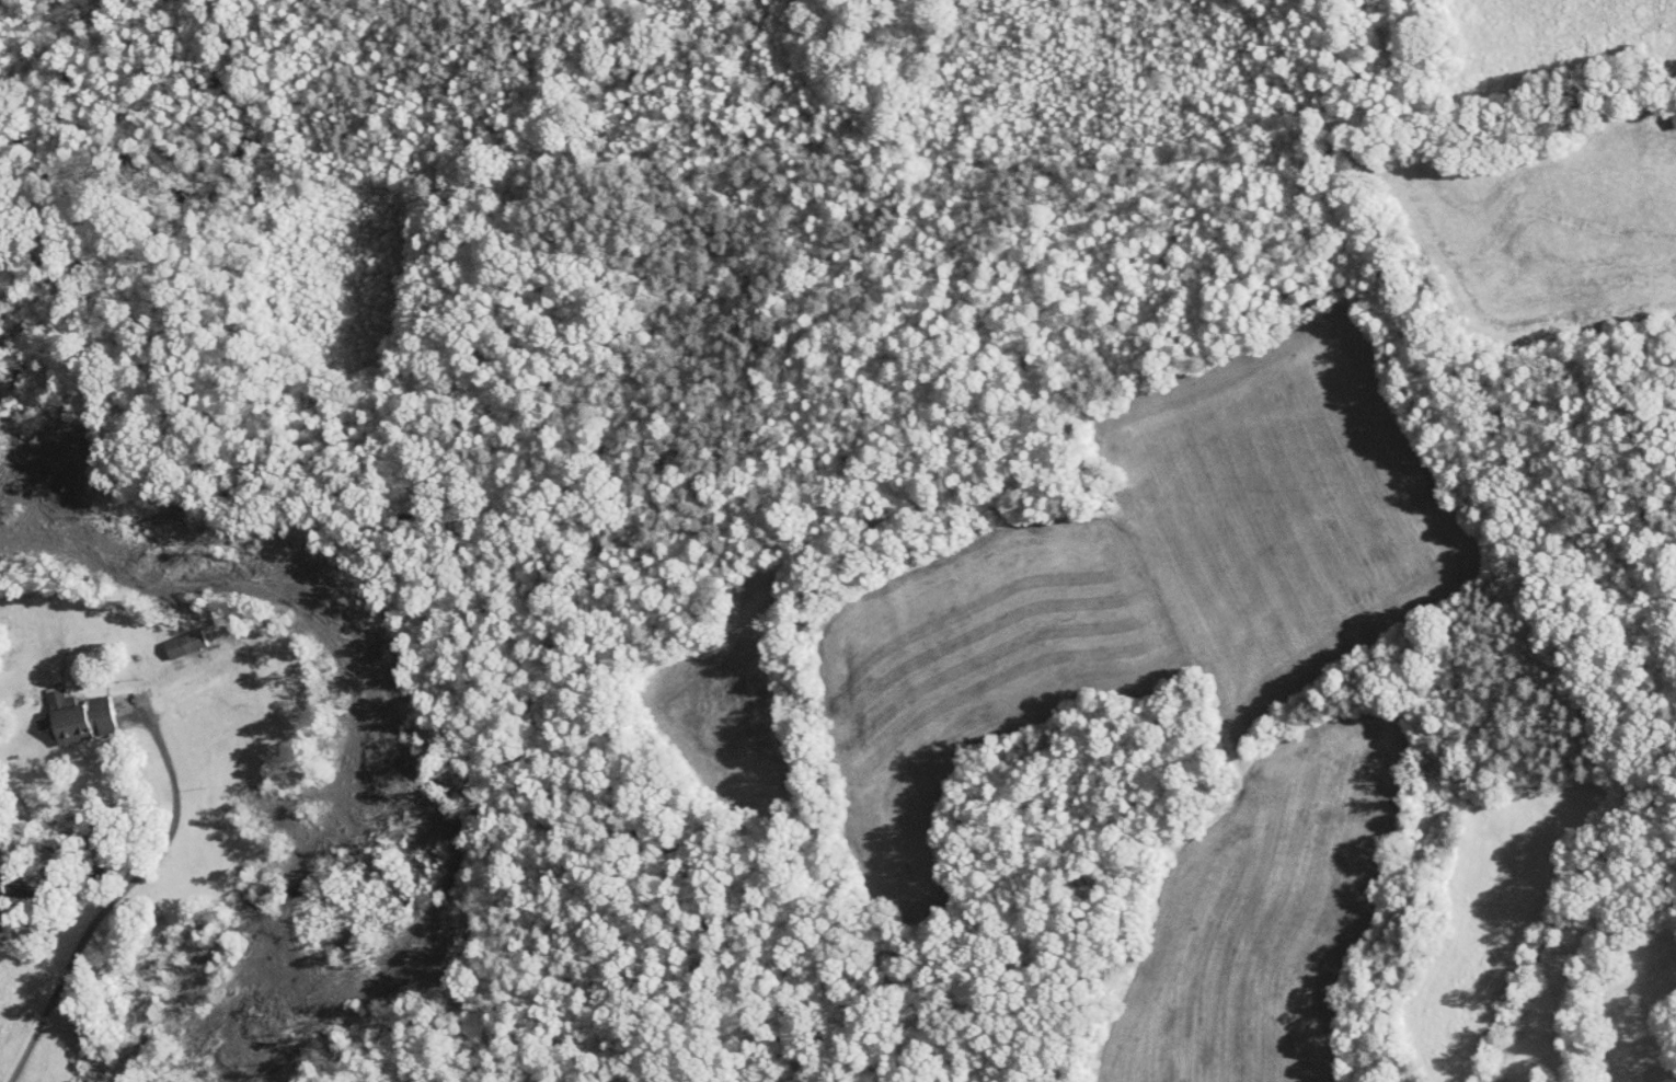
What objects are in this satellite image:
building: (1666, 108)
building: (64, 709)
road: (119, 900)

